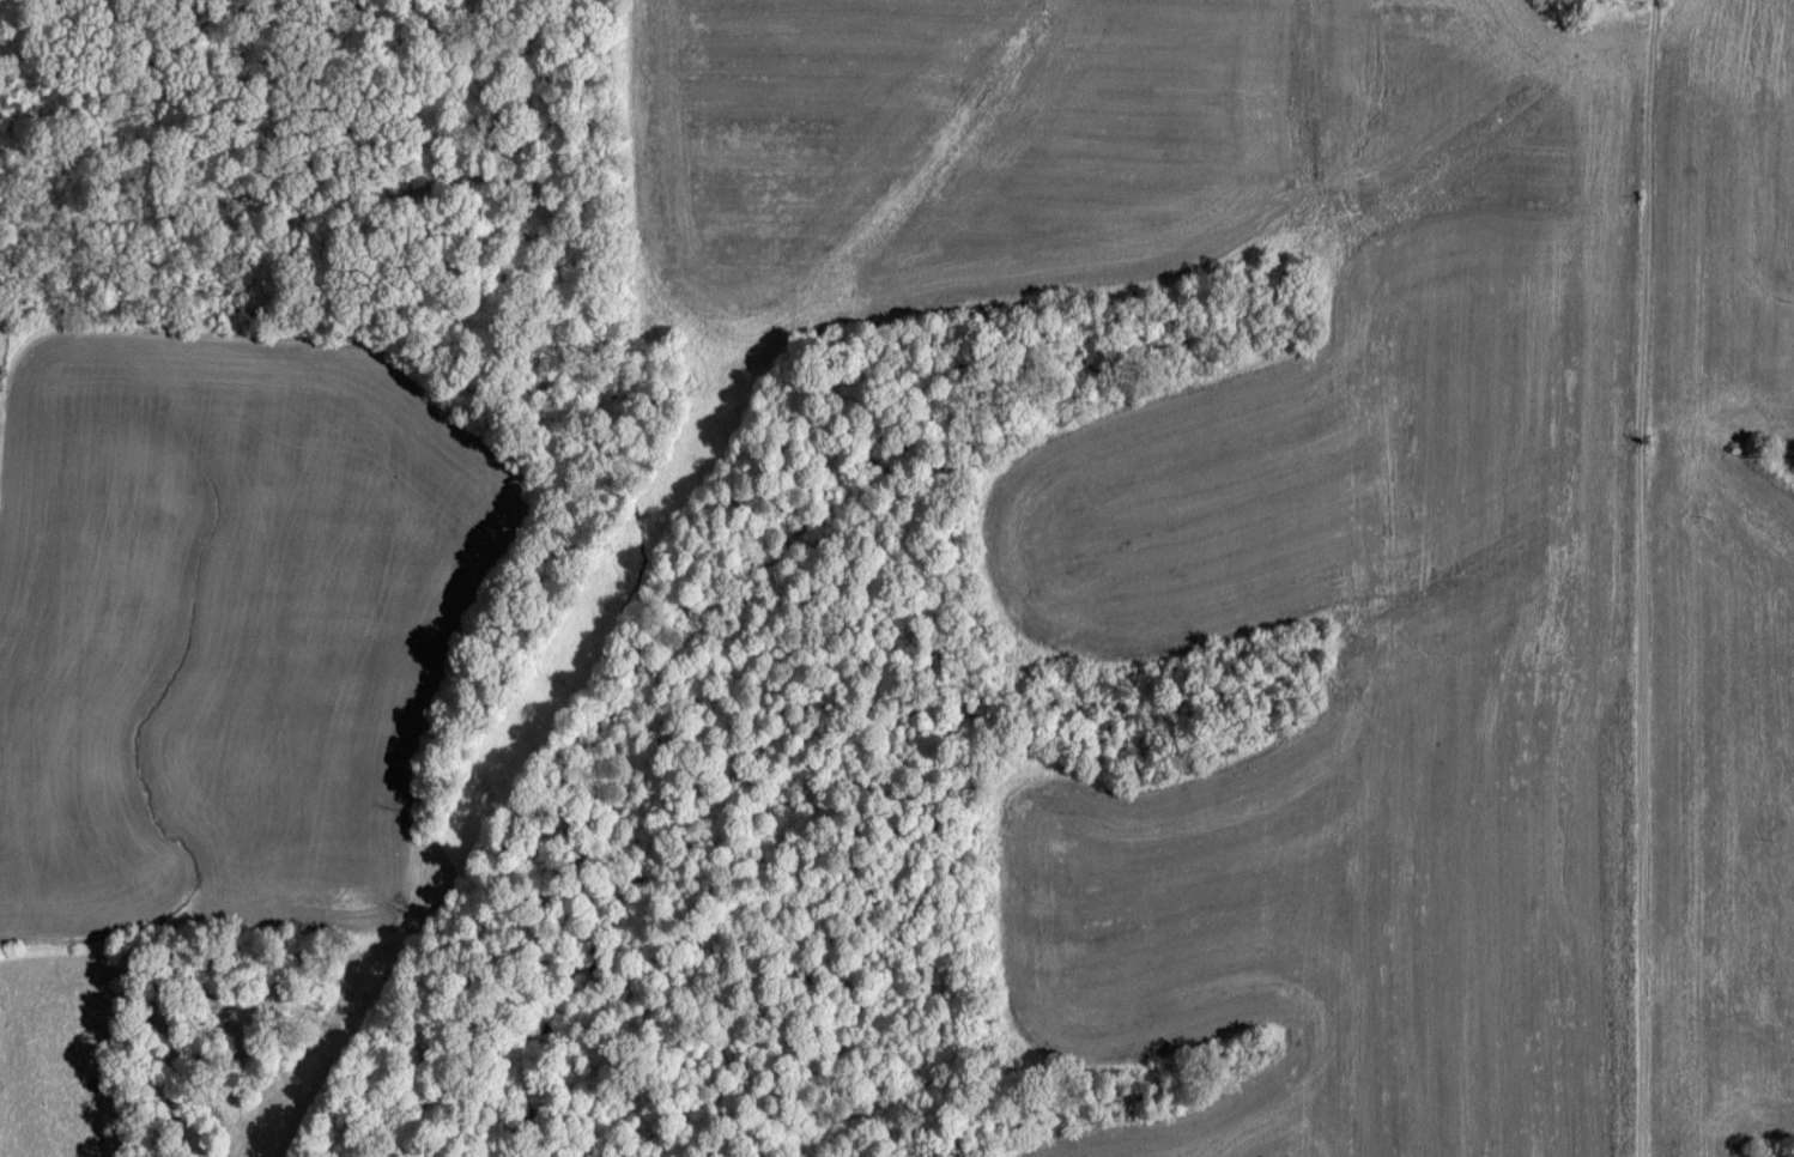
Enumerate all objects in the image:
road: (1643, 577)

